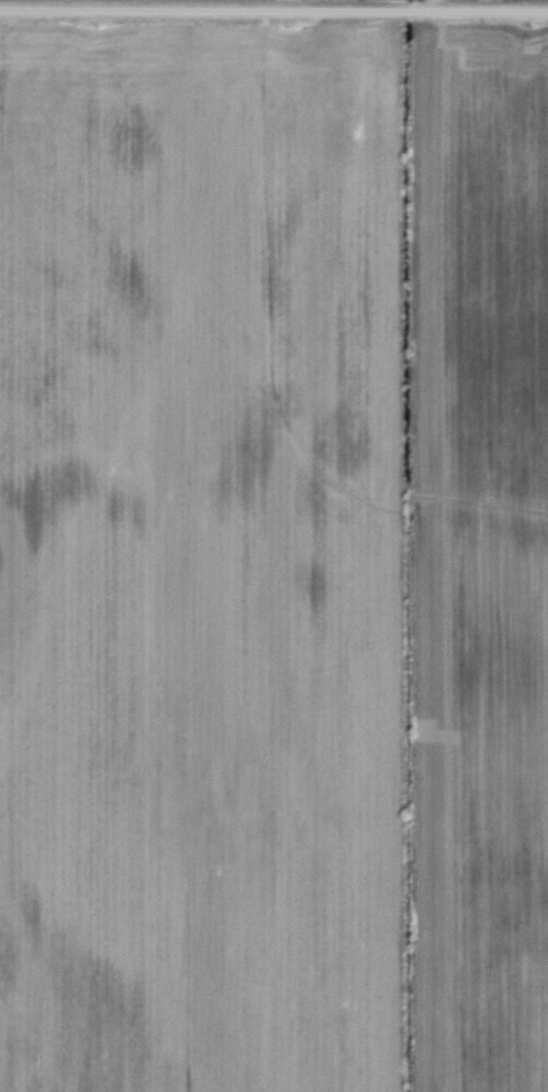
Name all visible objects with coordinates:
road: (273, 15)

